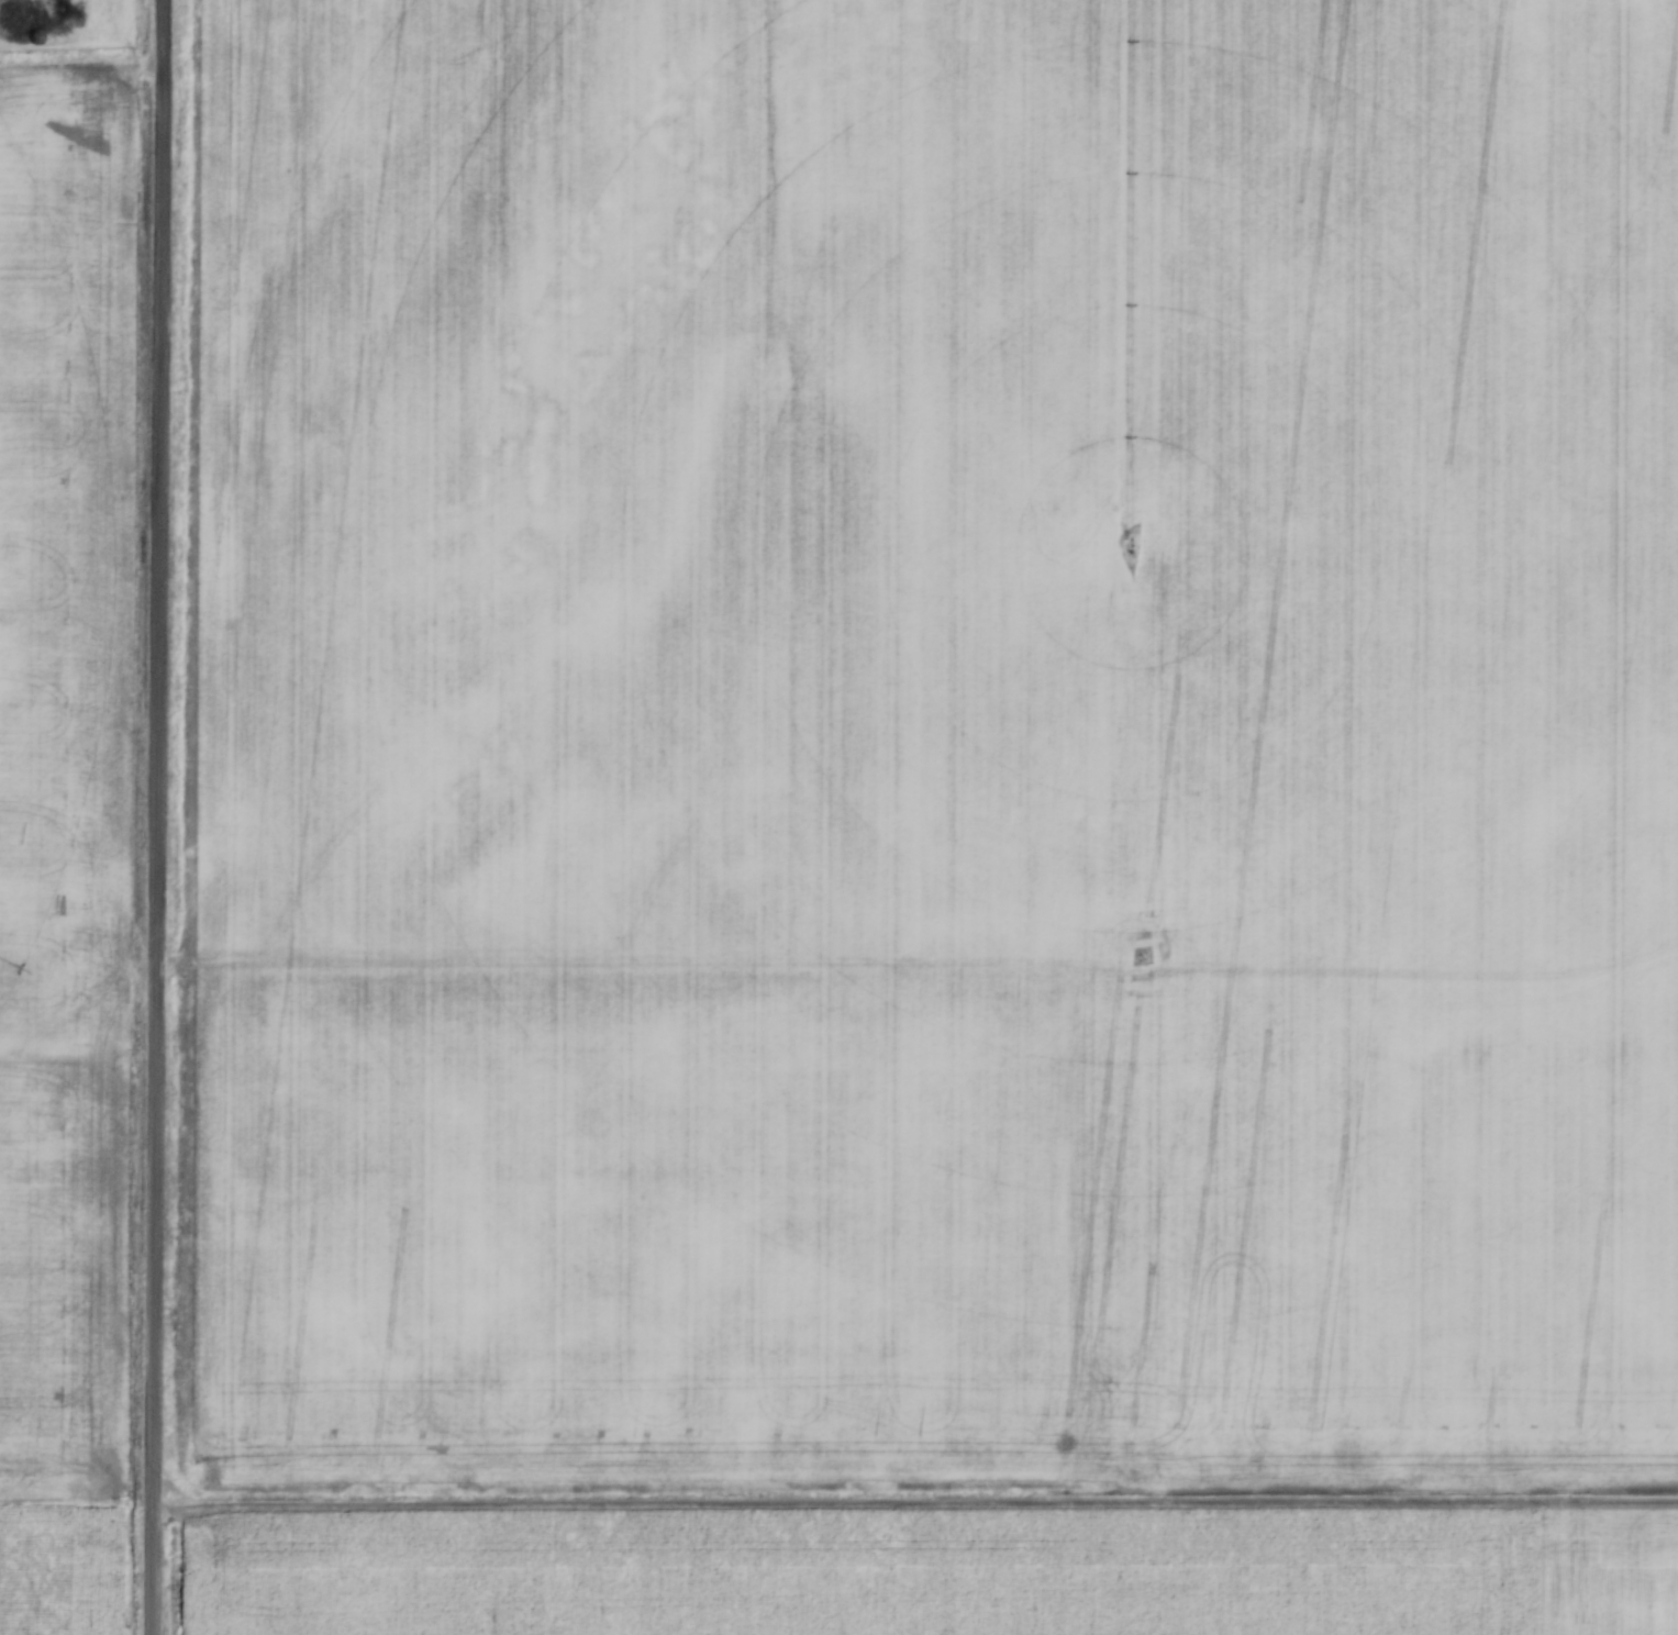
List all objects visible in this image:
crop: (69, 780)
road: (162, 818)

